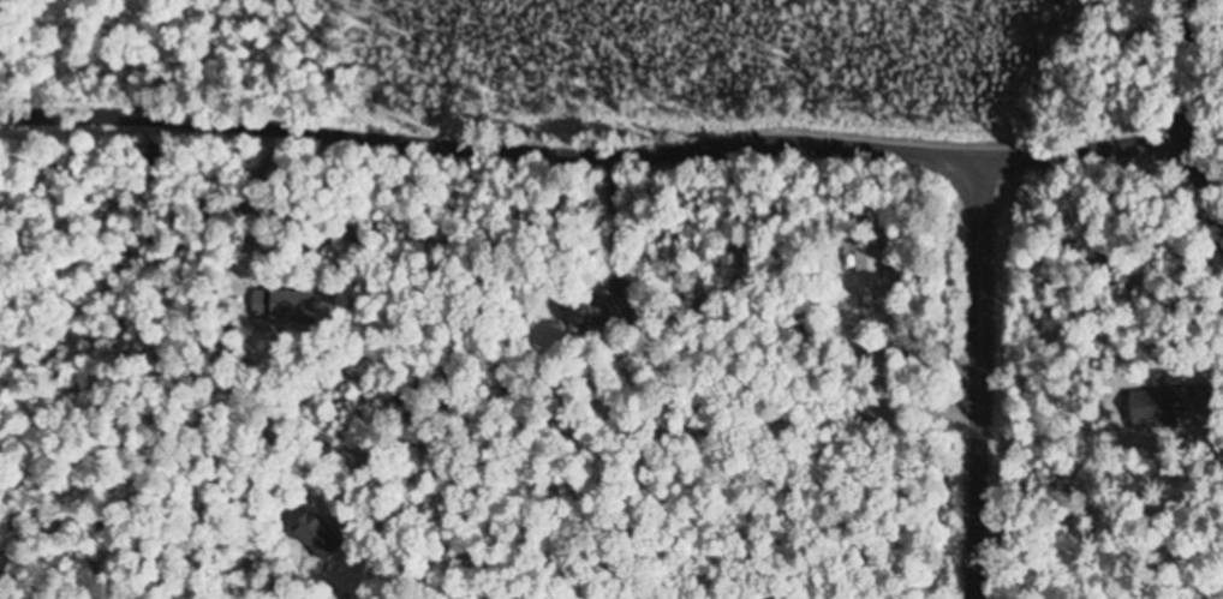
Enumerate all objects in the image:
road: (1195, 112)
road: (601, 150)
building: (866, 270)
building: (282, 305)
building: (590, 311)
road: (979, 376)
building: (315, 533)

